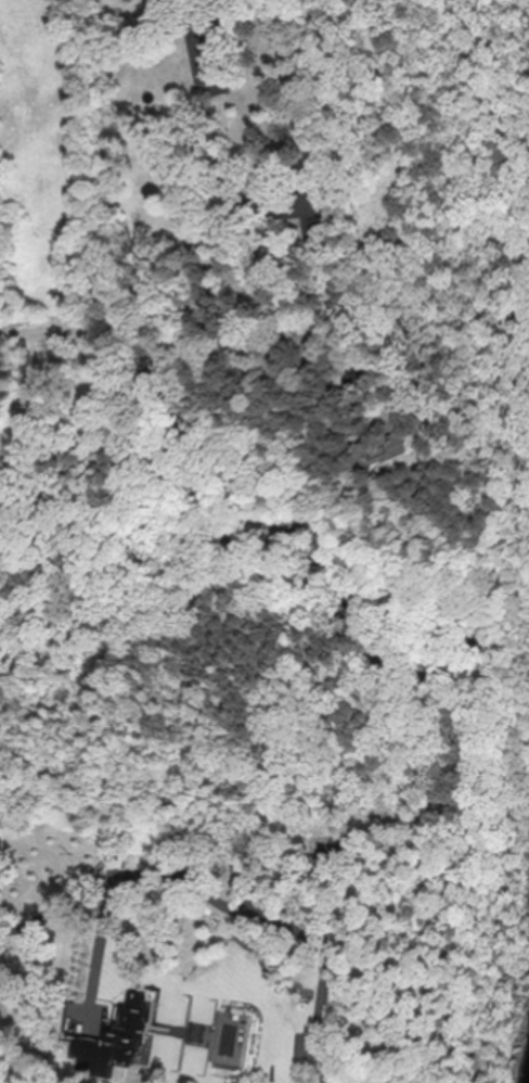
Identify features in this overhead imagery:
park: (55, 166)
building: (310, 214)
road: (191, 335)
building: (391, 450)
road: (215, 894)
road: (54, 900)
road: (101, 937)
building: (278, 1039)
building: (95, 1056)

